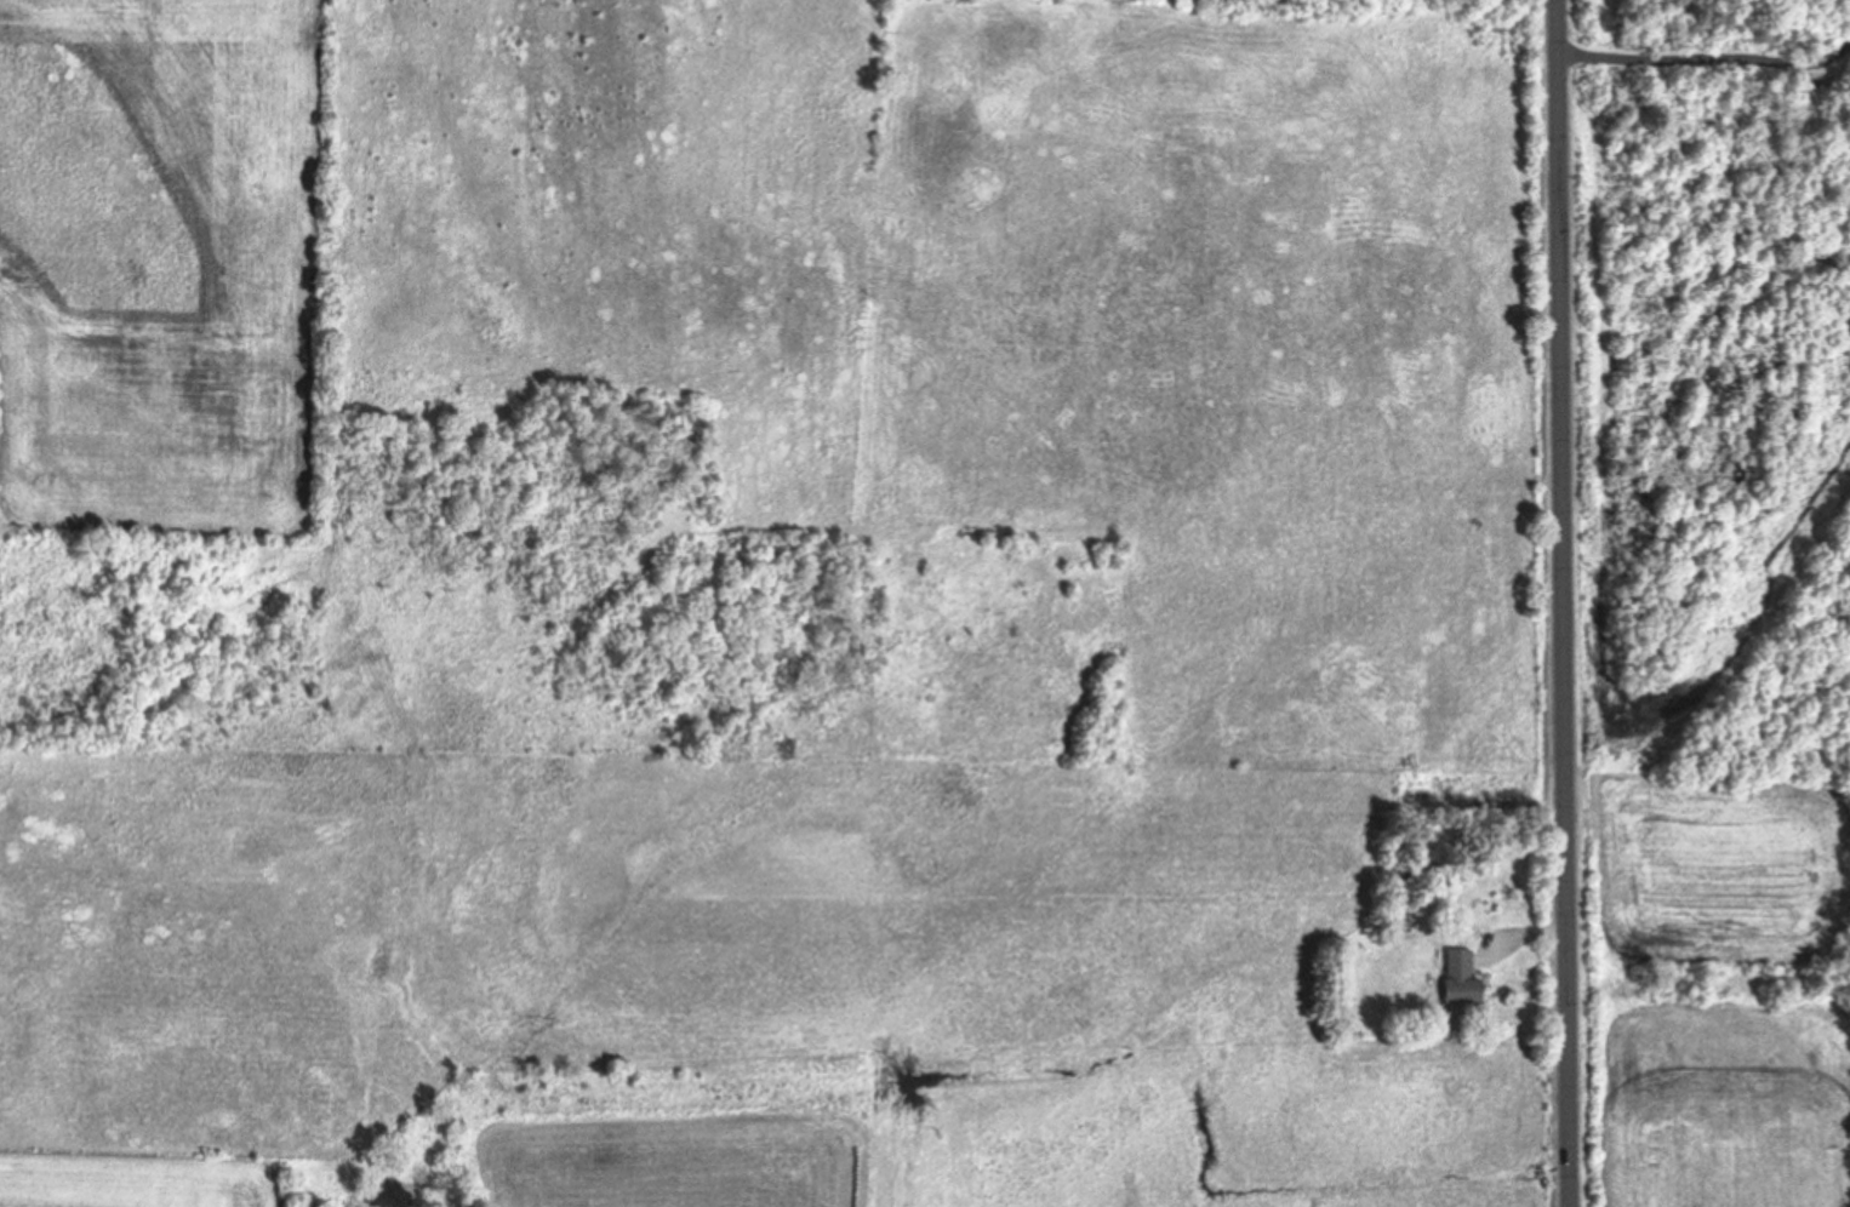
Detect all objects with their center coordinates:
road: (1709, 61)
road: (1564, 602)
building: (1454, 977)

